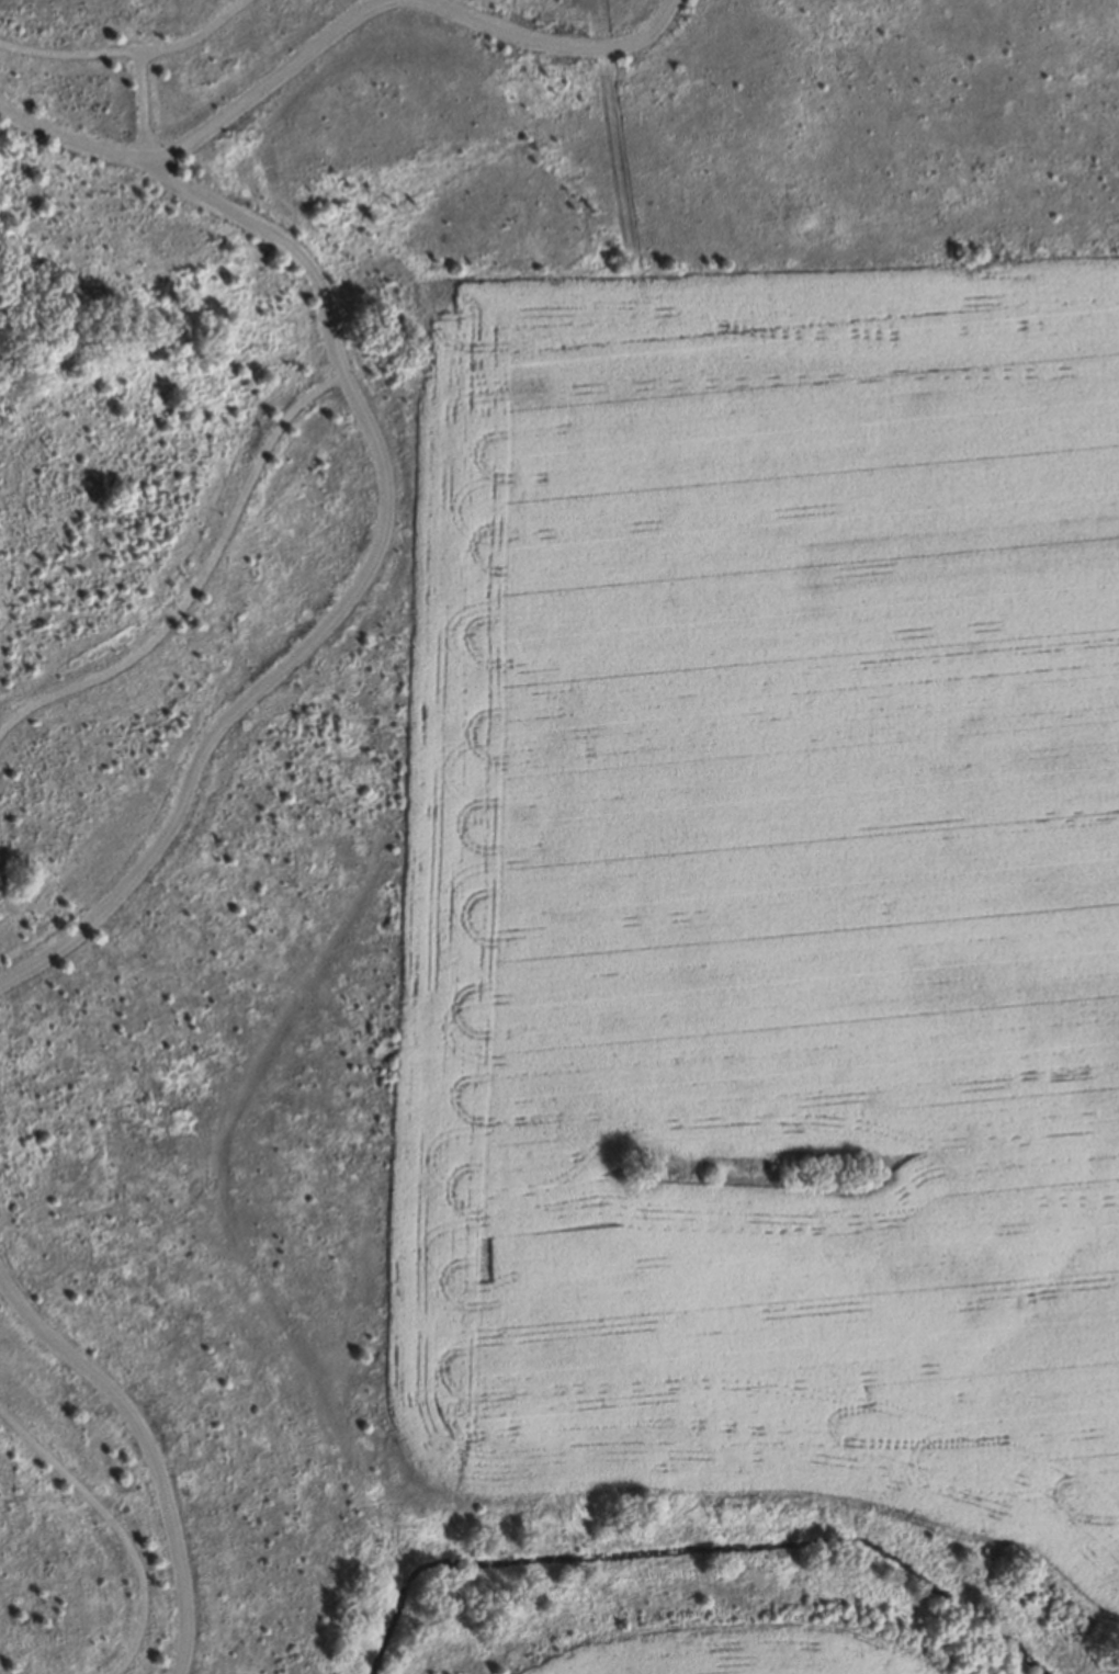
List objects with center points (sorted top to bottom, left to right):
road: (554, 44)
road: (269, 82)
road: (76, 139)
road: (353, 592)
road: (147, 1445)

